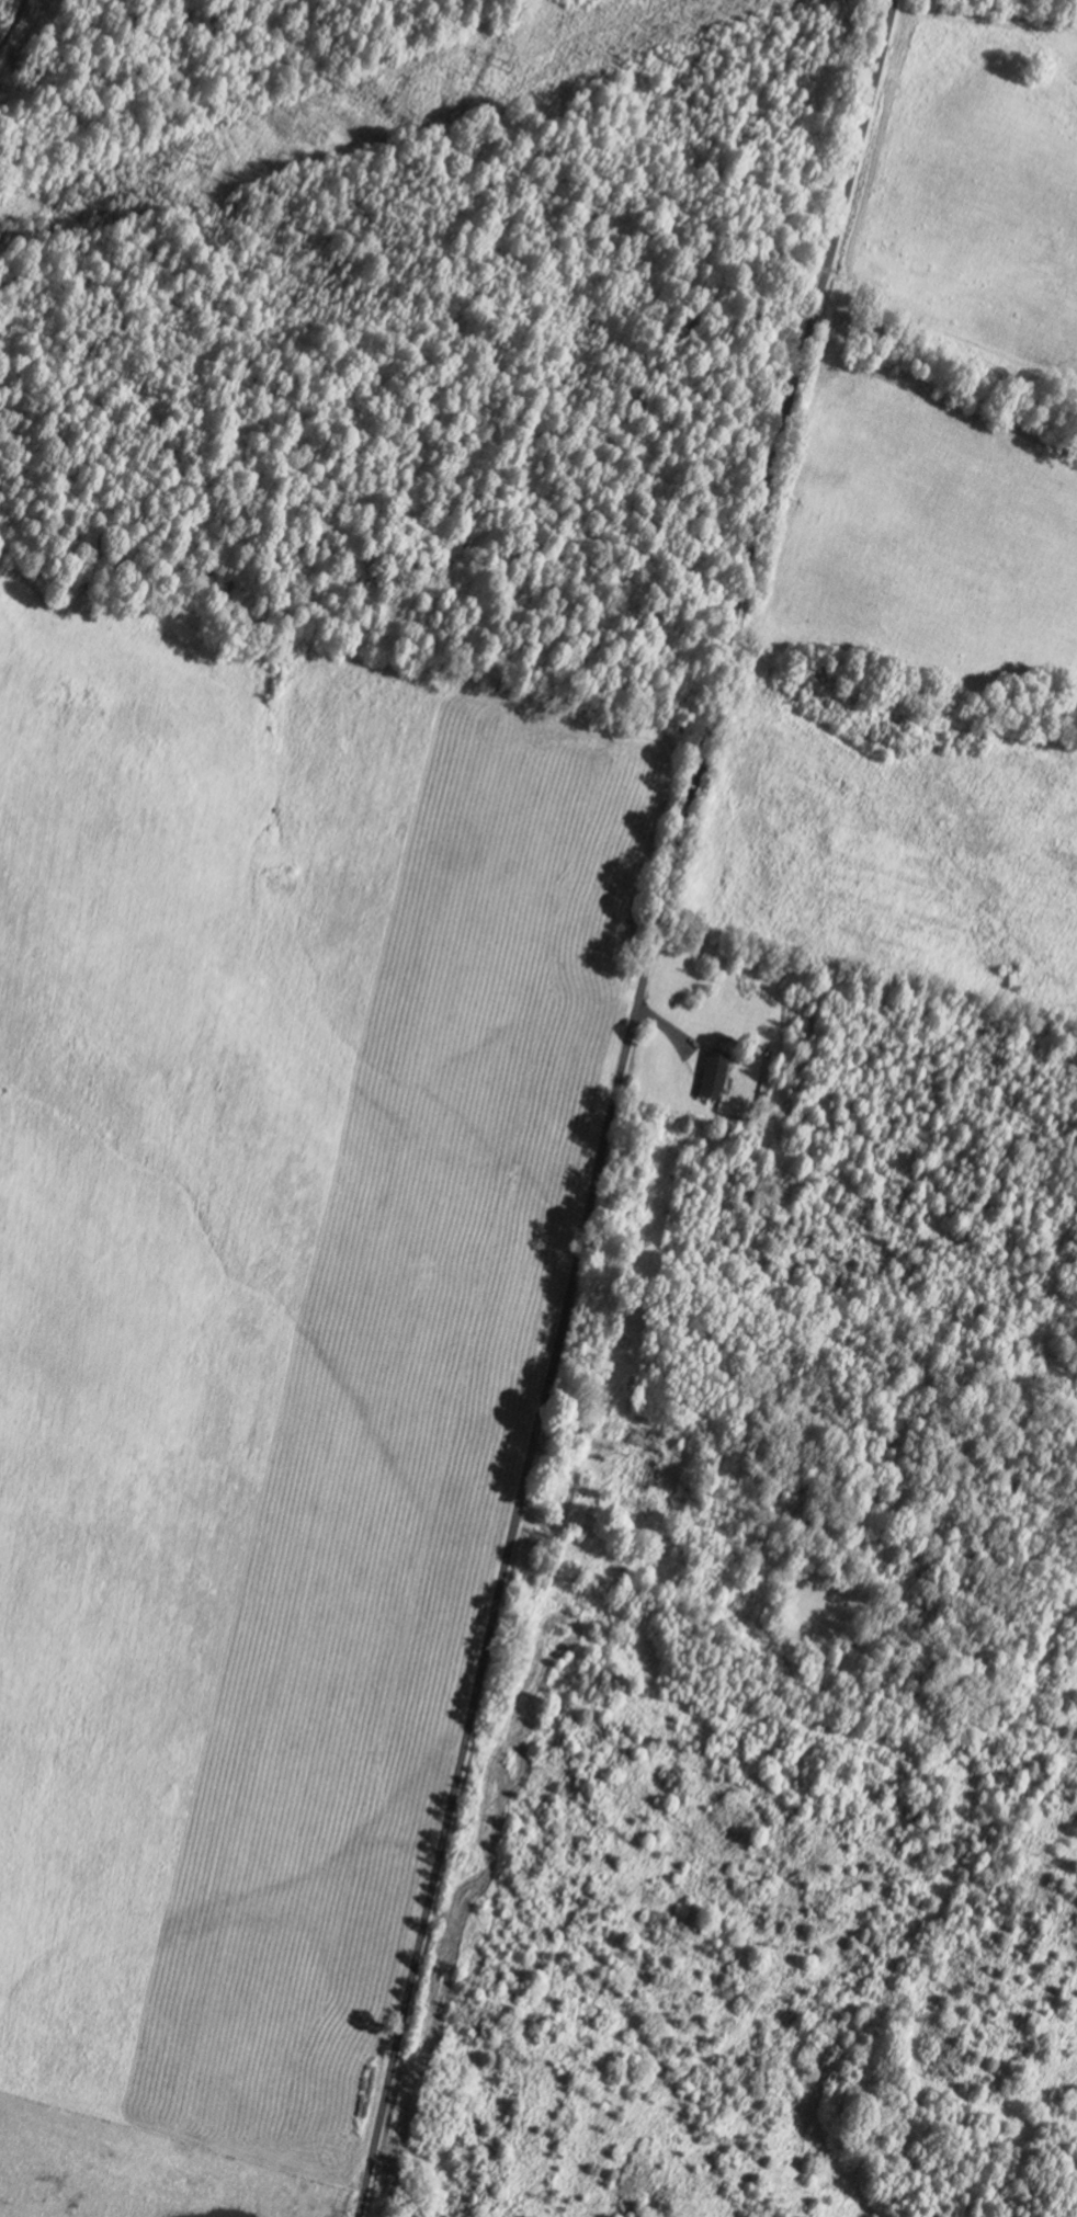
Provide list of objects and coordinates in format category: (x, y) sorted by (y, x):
building: (713, 1078)
road: (613, 1105)
building: (640, 1441)
building: (643, 1478)

